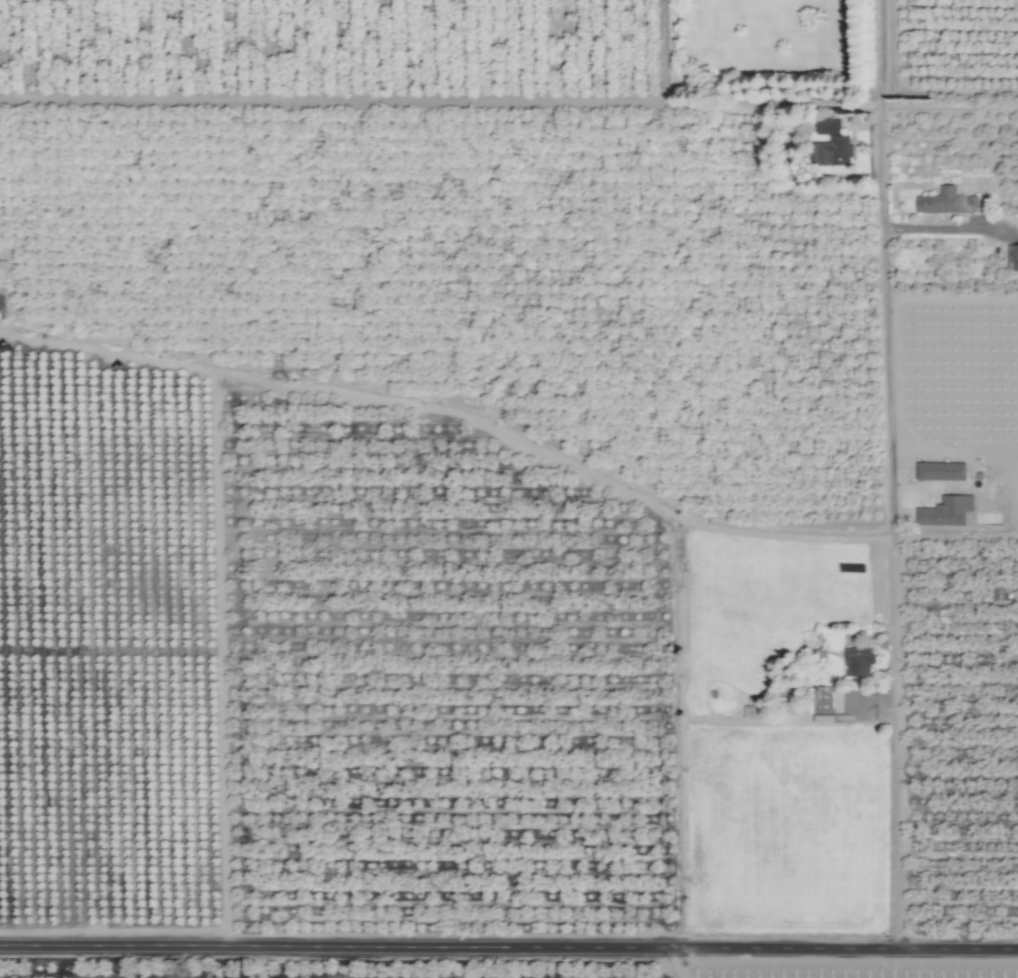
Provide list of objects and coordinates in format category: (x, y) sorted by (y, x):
road: (442, 99)
building: (827, 126)
building: (832, 152)
building: (940, 201)
road: (947, 228)
building: (1012, 257)
building: (1, 269)
road: (443, 413)
building: (941, 471)
road: (892, 474)
building: (946, 511)
building: (858, 661)
building: (823, 700)
building: (824, 718)
road: (509, 947)

